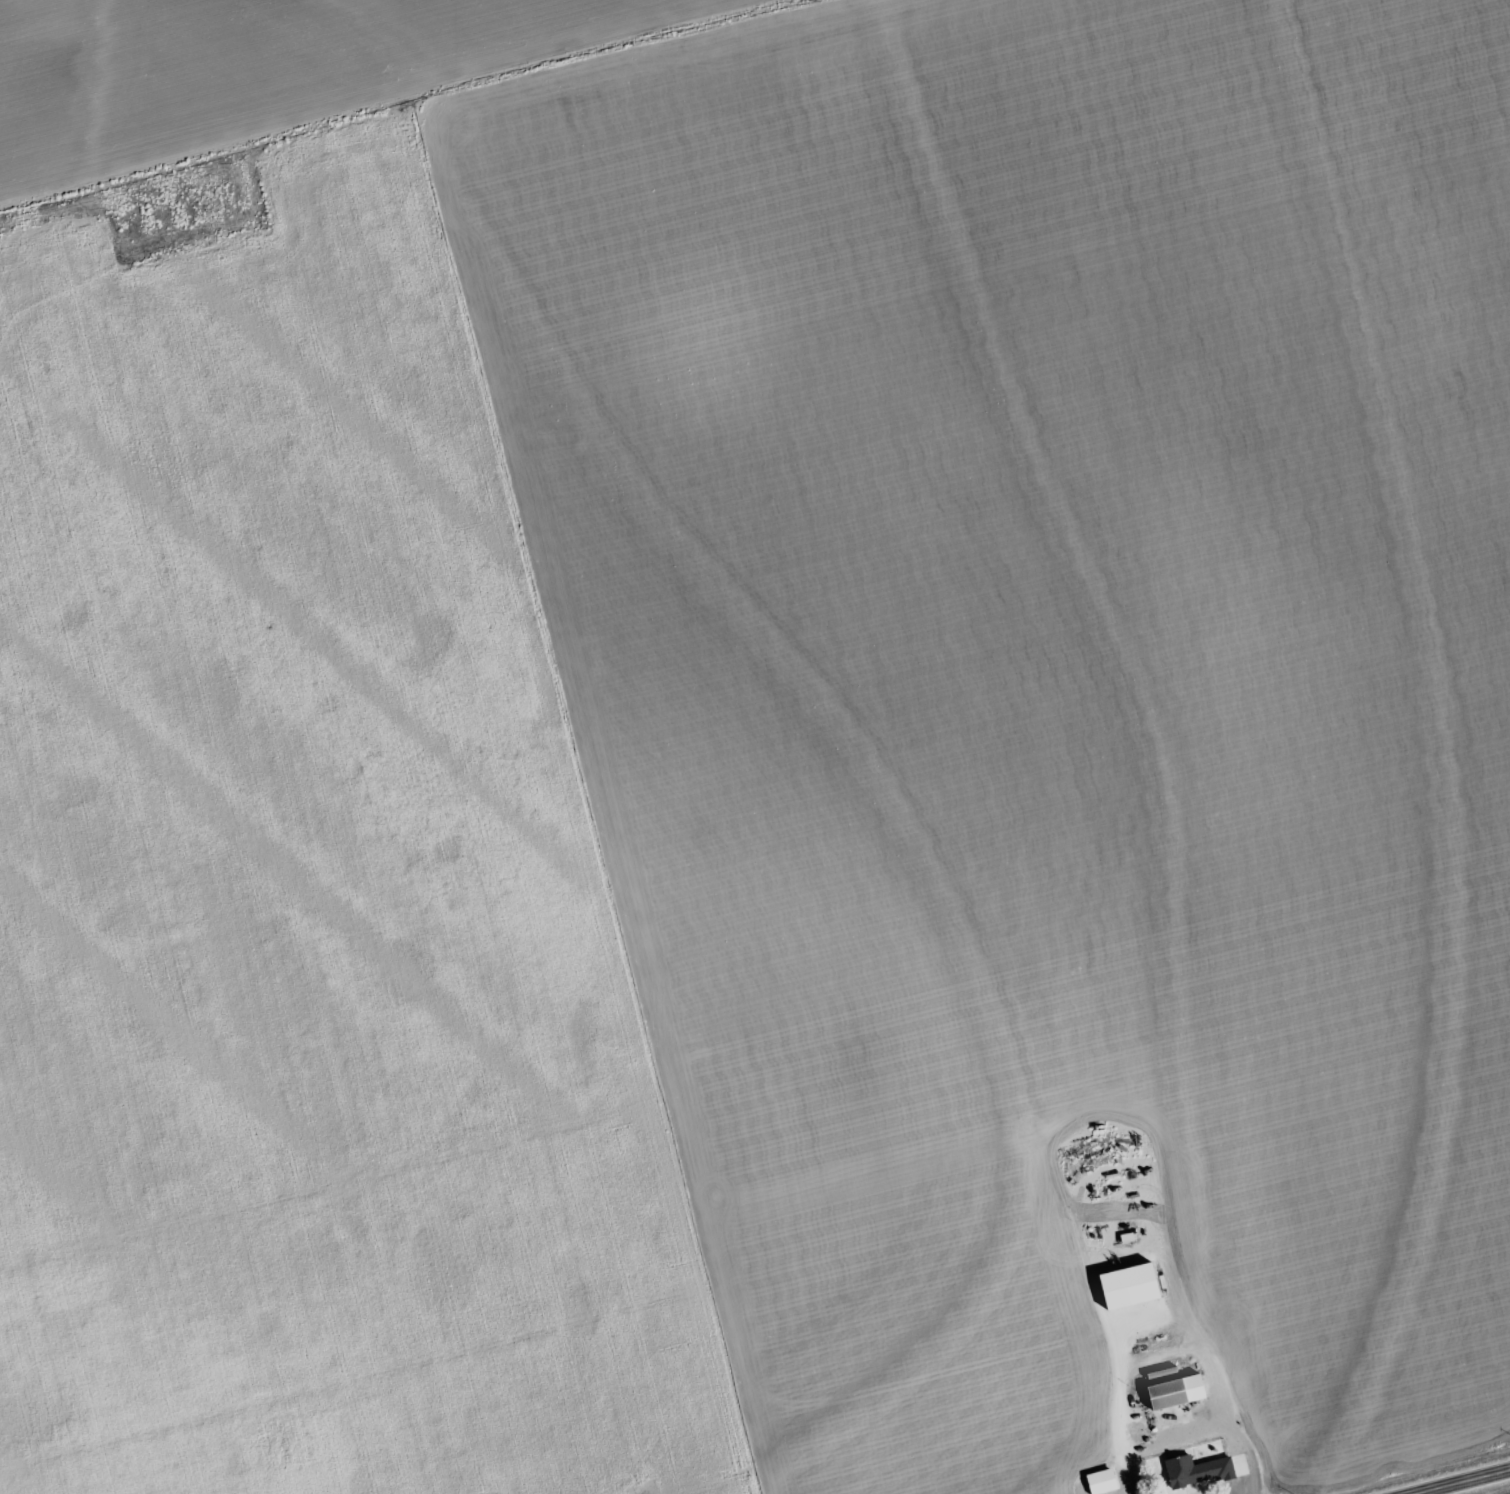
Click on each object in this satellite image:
building: (1171, 1390)
building: (1191, 1469)
road: (1458, 1480)

